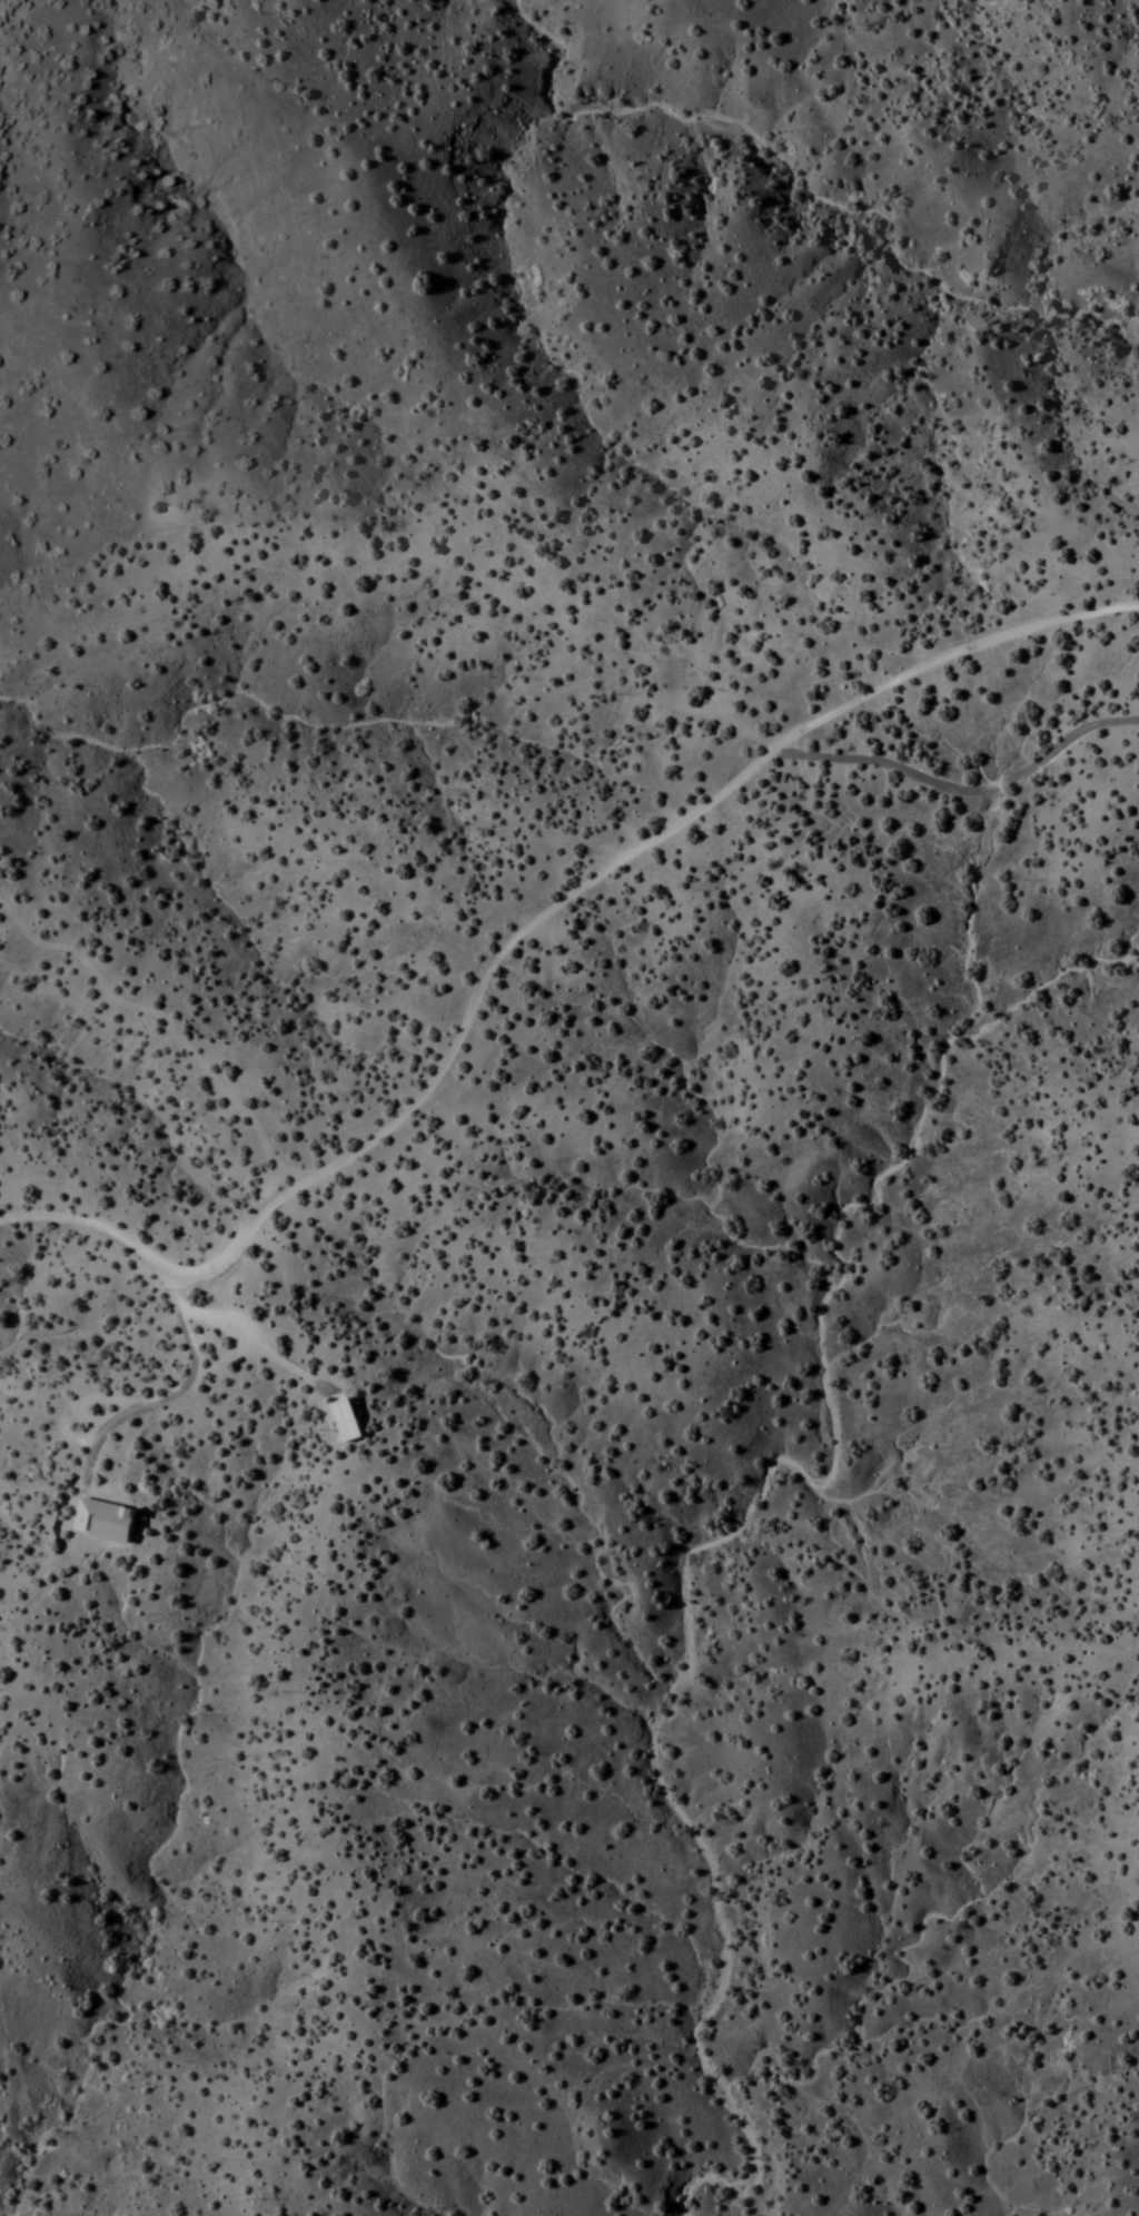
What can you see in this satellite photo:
road: (522, 922)
building: (345, 1421)
road: (345, 1503)
building: (103, 1521)

